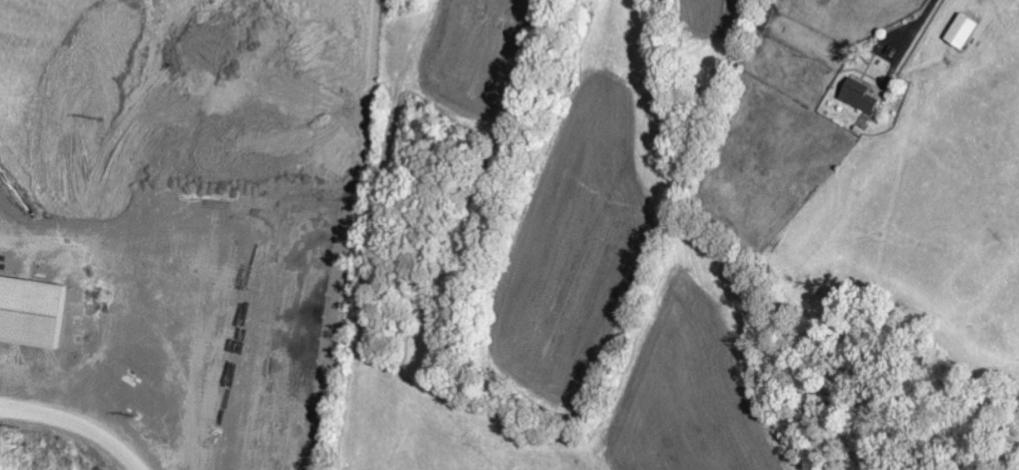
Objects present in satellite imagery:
building: (958, 32)
building: (855, 96)
road: (70, 431)

